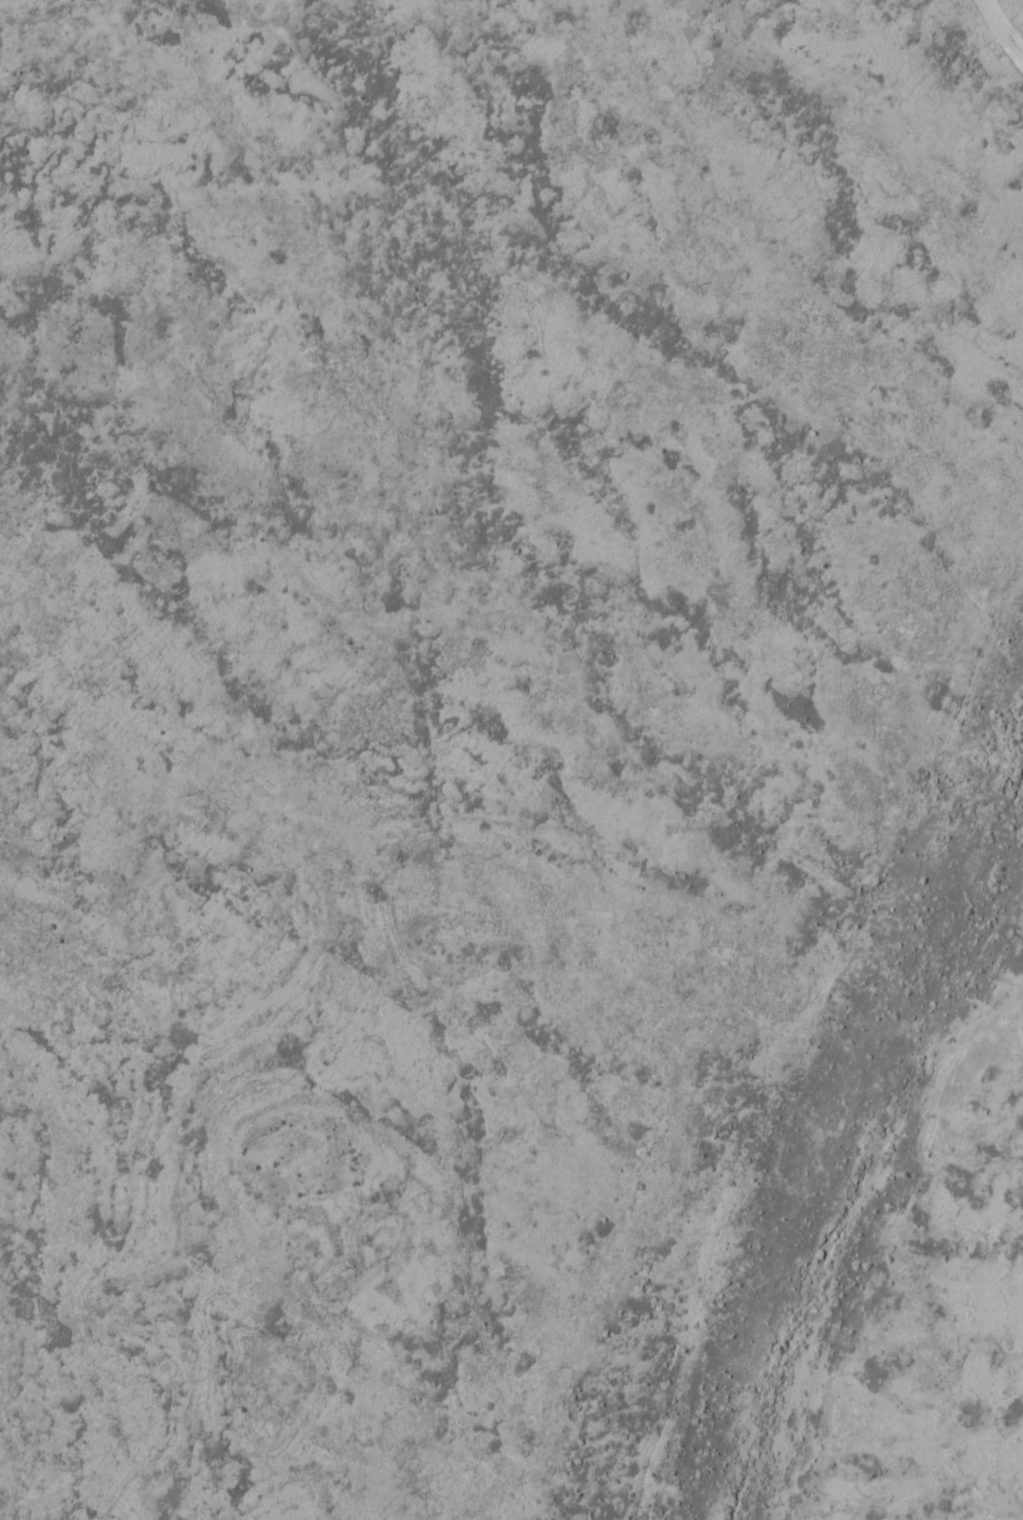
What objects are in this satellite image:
road: (1001, 28)

